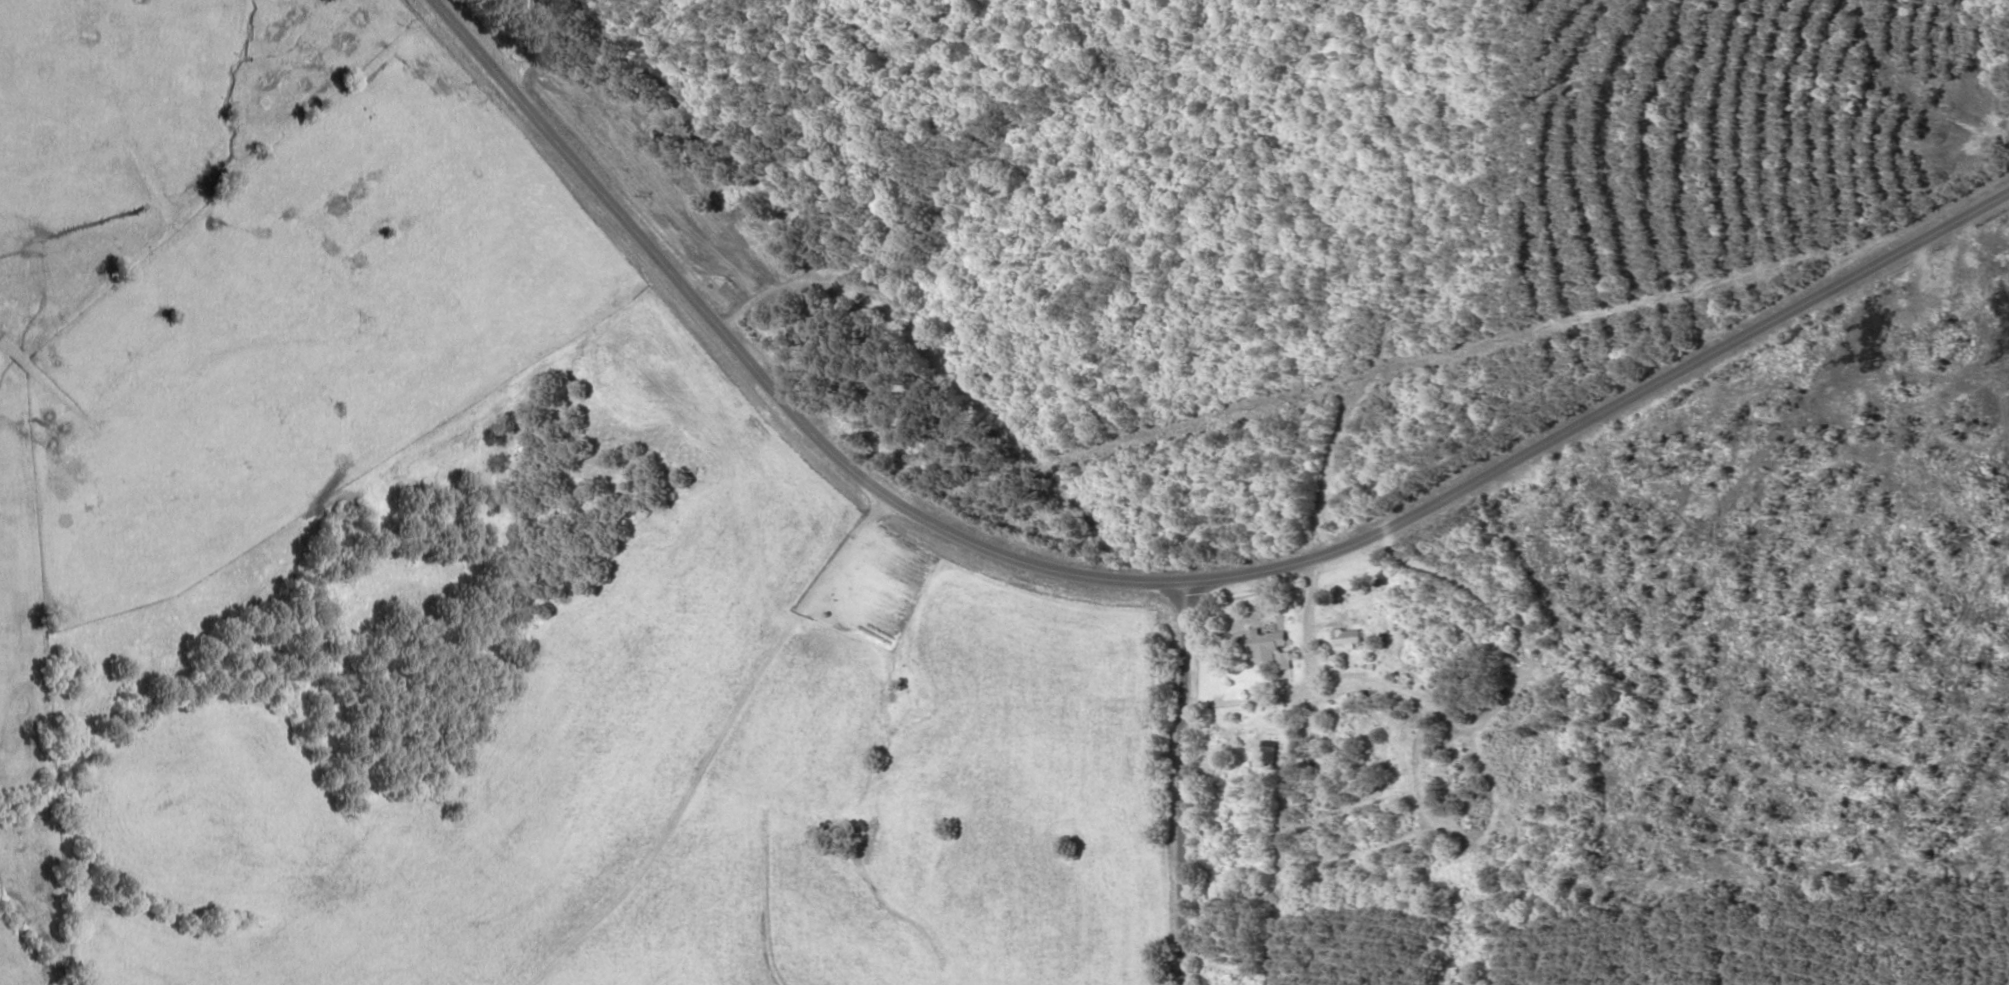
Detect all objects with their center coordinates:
road: (604, 81)
road: (1138, 587)
building: (1347, 636)
building: (1266, 645)
building: (1267, 756)
road: (1186, 786)

